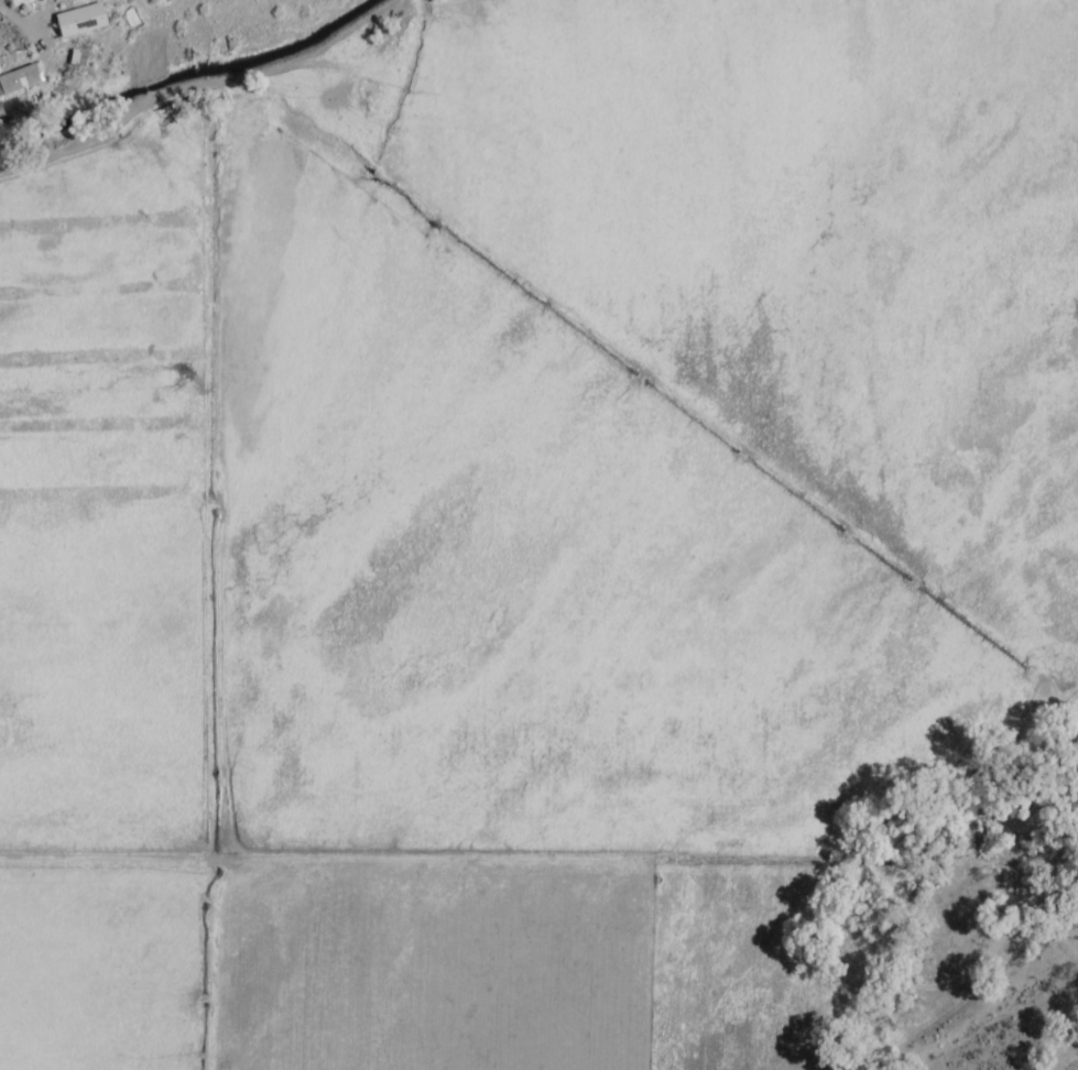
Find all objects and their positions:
building: (77, 22)
building: (17, 81)

